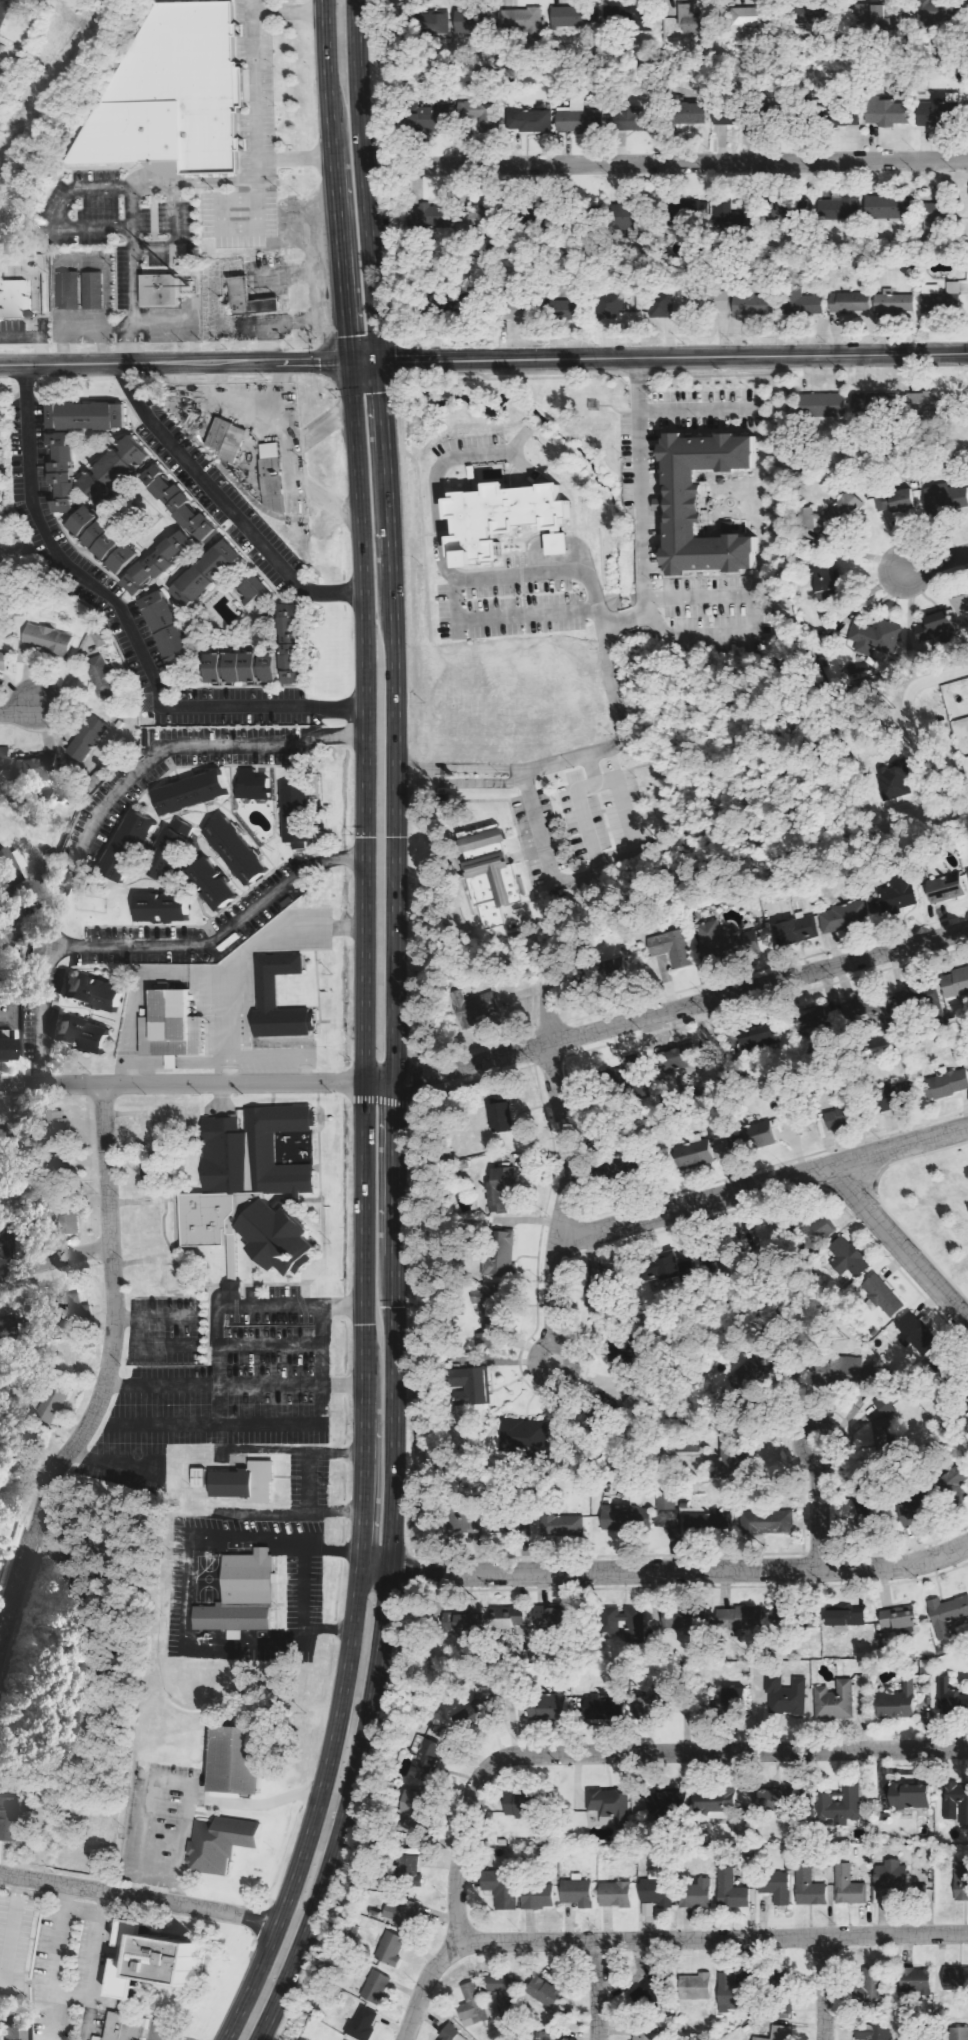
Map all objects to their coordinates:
building: (4, 11)
building: (629, 15)
building: (807, 15)
building: (567, 17)
building: (753, 17)
building: (689, 20)
building: (526, 21)
building: (468, 22)
building: (437, 25)
building: (172, 95)
building: (476, 110)
building: (930, 111)
building: (887, 112)
building: (690, 113)
building: (721, 115)
building: (846, 117)
building: (432, 118)
building: (580, 118)
building: (633, 119)
building: (531, 120)
road: (666, 162)
building: (167, 169)
building: (889, 207)
building: (840, 208)
building: (687, 210)
building: (787, 213)
building: (620, 214)
building: (935, 214)
building: (434, 216)
building: (732, 217)
building: (71, 290)
building: (94, 290)
building: (164, 290)
building: (942, 297)
building: (14, 298)
building: (248, 298)
building: (718, 300)
building: (803, 302)
building: (850, 302)
building: (895, 302)
building: (753, 303)
building: (663, 304)
building: (614, 305)
building: (567, 309)
road: (484, 358)
traffic signals: (350, 360)
traffic signals: (379, 360)
building: (872, 401)
building: (822, 405)
building: (926, 405)
building: (84, 414)
building: (227, 439)
building: (112, 468)
building: (61, 471)
building: (272, 477)
building: (948, 497)
building: (176, 502)
building: (896, 502)
road: (223, 504)
building: (707, 506)
road: (640, 509)
building: (830, 512)
building: (500, 515)
building: (101, 539)
building: (557, 544)
road: (552, 548)
building: (156, 562)
road: (930, 562)
building: (203, 573)
building: (827, 582)
building: (247, 585)
building: (961, 606)
road: (592, 608)
road: (126, 618)
road: (500, 619)
building: (166, 629)
building: (874, 636)
building: (49, 639)
building: (265, 654)
building: (5, 661)
building: (855, 668)
building: (103, 676)
road: (16, 709)
building: (89, 737)
building: (5, 759)
building: (38, 767)
building: (247, 785)
building: (188, 793)
road: (102, 806)
building: (294, 817)
road: (538, 829)
building: (124, 846)
building: (165, 852)
building: (232, 852)
building: (13, 865)
building: (967, 870)
building: (494, 879)
building: (208, 886)
building: (943, 888)
building: (897, 889)
building: (159, 909)
building: (842, 916)
building: (5, 920)
building: (796, 930)
road: (215, 932)
building: (724, 935)
building: (672, 948)
building: (614, 967)
building: (955, 983)
building: (89, 990)
building: (264, 992)
building: (926, 996)
building: (474, 1007)
building: (869, 1009)
road: (667, 1012)
building: (168, 1026)
road: (396, 1029)
road: (365, 1030)
building: (78, 1032)
building: (760, 1037)
building: (7, 1048)
building: (681, 1057)
traffic signals: (365, 1082)
traffic signals: (396, 1082)
road: (182, 1083)
building: (946, 1084)
building: (891, 1097)
building: (501, 1117)
building: (836, 1119)
building: (58, 1125)
building: (757, 1135)
building: (692, 1153)
road: (570, 1165)
building: (622, 1167)
building: (243, 1172)
road: (761, 1184)
building: (500, 1190)
building: (68, 1220)
building: (818, 1227)
building: (276, 1238)
road: (898, 1242)
building: (501, 1254)
building: (848, 1257)
road: (55, 1258)
building: (665, 1266)
building: (233, 1290)
building: (883, 1295)
building: (65, 1307)
building: (487, 1311)
road: (216, 1328)
building: (917, 1332)
building: (68, 1358)
building: (848, 1372)
road: (109, 1377)
building: (471, 1385)
building: (51, 1404)
building: (881, 1436)
building: (200, 1478)
building: (956, 1480)
building: (240, 1482)
building: (667, 1501)
road: (820, 1507)
building: (909, 1513)
building: (626, 1518)
building: (696, 1520)
building: (468, 1524)
building: (564, 1525)
building: (513, 1526)
road: (664, 1571)
building: (235, 1592)
building: (948, 1615)
building: (845, 1617)
building: (549, 1618)
building: (740, 1618)
building: (897, 1619)
building: (508, 1620)
building: (682, 1620)
building: (460, 1622)
building: (625, 1622)
building: (787, 1696)
building: (951, 1696)
building: (733, 1698)
building: (836, 1701)
building: (897, 1702)
building: (547, 1707)
building: (599, 1707)
building: (432, 1749)
road: (633, 1754)
building: (239, 1756)
building: (909, 1796)
building: (775, 1800)
building: (670, 1801)
building: (715, 1801)
building: (956, 1802)
building: (518, 1805)
building: (610, 1805)
building: (840, 1805)
building: (414, 1812)
building: (10, 1818)
building: (217, 1840)
building: (411, 1872)
building: (894, 1875)
building: (961, 1881)
building: (777, 1886)
building: (810, 1887)
building: (850, 1887)
building: (502, 1888)
building: (733, 1890)
building: (578, 1891)
building: (616, 1893)
building: (698, 1894)
road: (139, 1897)
building: (538, 1897)
building: (401, 1912)
road: (713, 1938)
building: (391, 1949)
building: (148, 1961)
road: (88, 1965)
building: (954, 1978)
building: (917, 1982)
building: (699, 1986)
building: (376, 1987)
road: (421, 1987)
building: (873, 1987)
road: (822, 1988)
road: (599, 1990)
building: (545, 1991)
building: (729, 1991)
building: (474, 2005)
building: (364, 2024)
building: (126, 2027)
building: (451, 2032)
building: (645, 2032)
building: (874, 2032)
building: (779, 2033)
building: (957, 2033)
building: (543, 2036)

